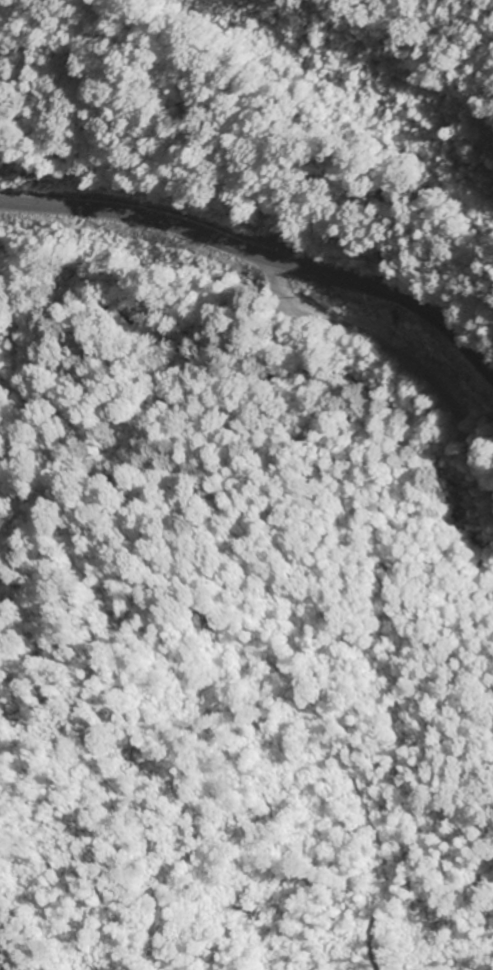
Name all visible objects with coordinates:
road: (260, 257)
road: (387, 353)

